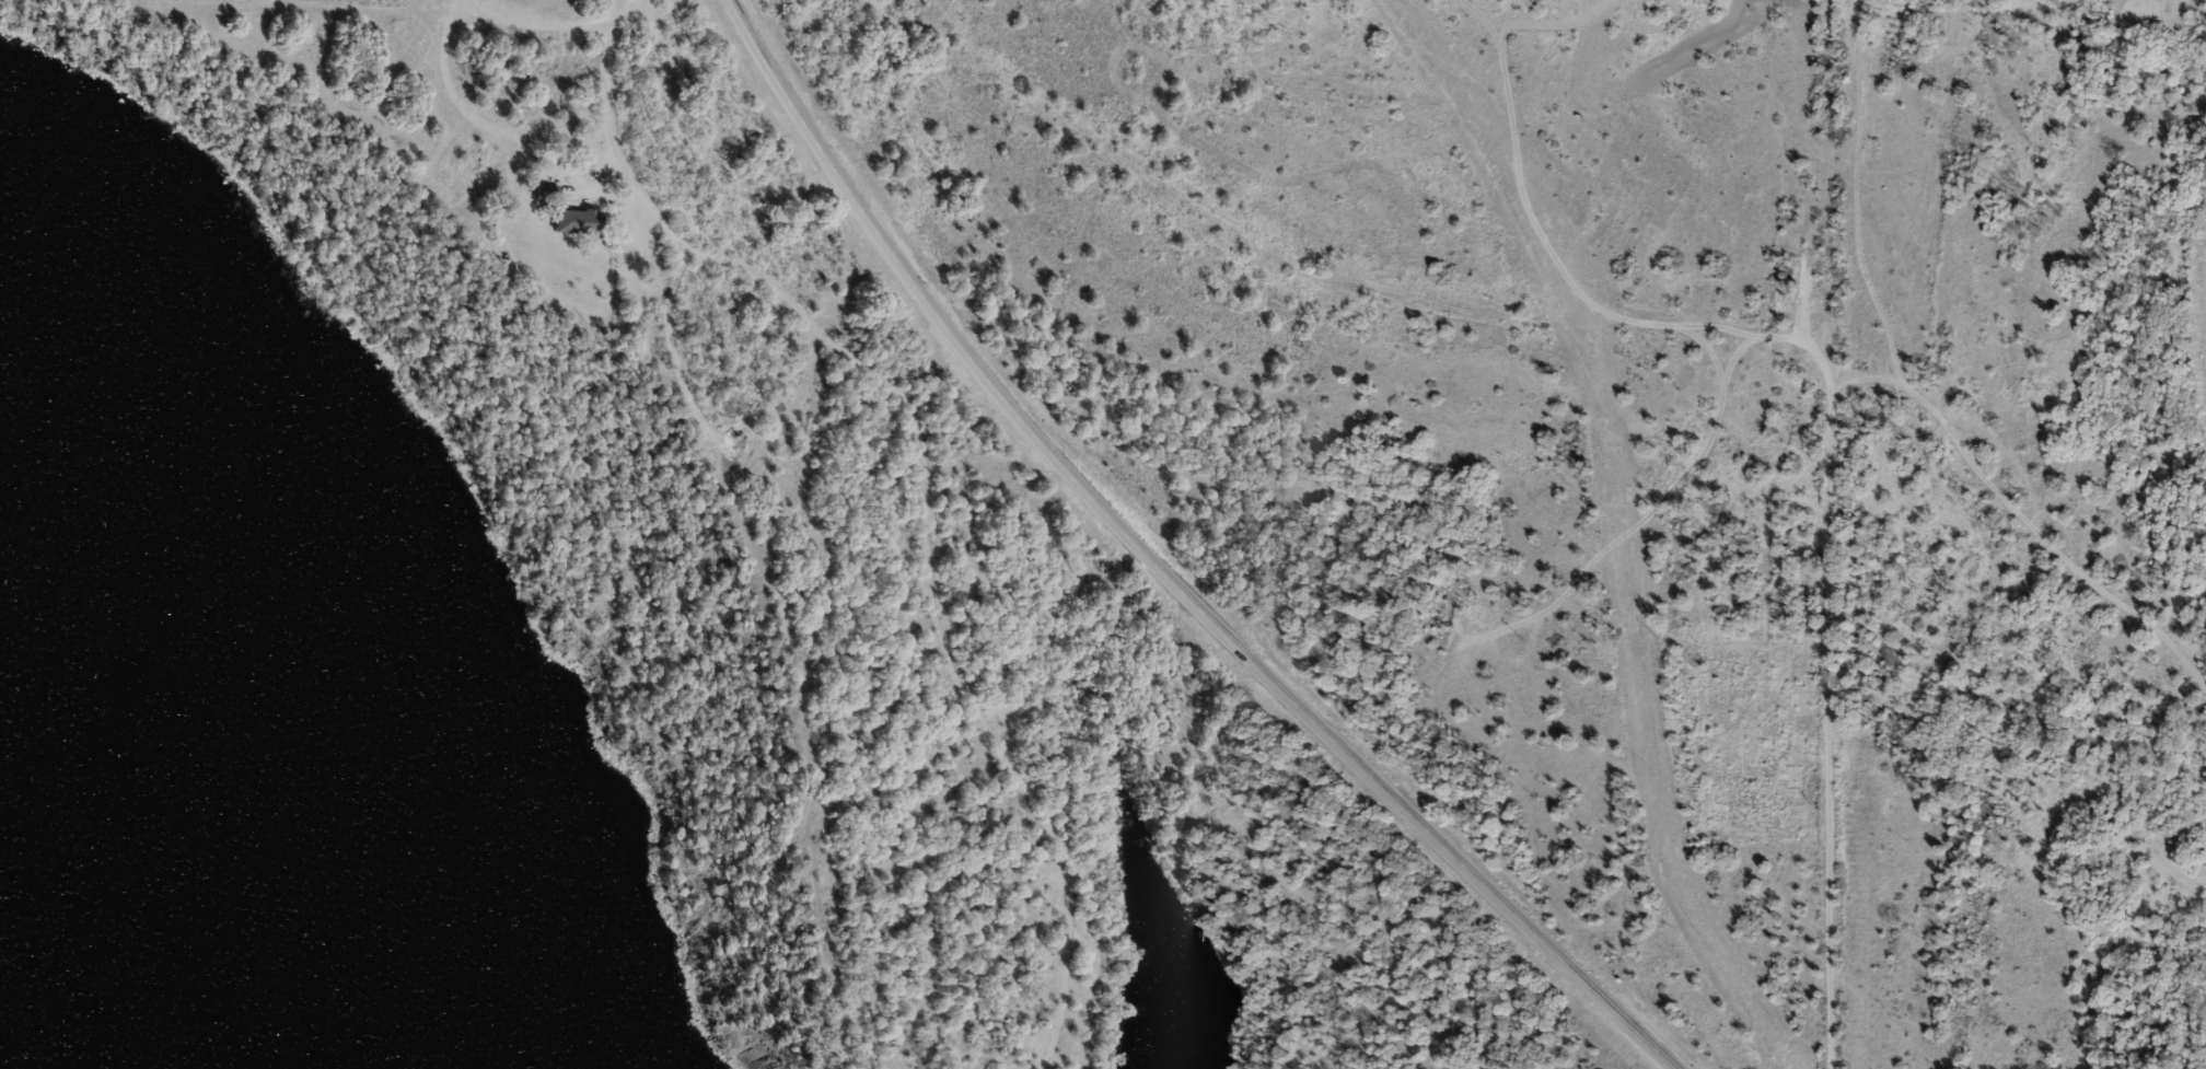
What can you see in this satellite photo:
road: (542, 22)
road: (1508, 27)
road: (608, 127)
building: (547, 190)
road: (1858, 194)
building: (578, 220)
road: (1540, 233)
road: (1737, 333)
road: (671, 341)
road: (1902, 382)
road: (1648, 515)
road: (2068, 563)
road: (1160, 570)
road: (932, 609)
road: (1830, 699)

